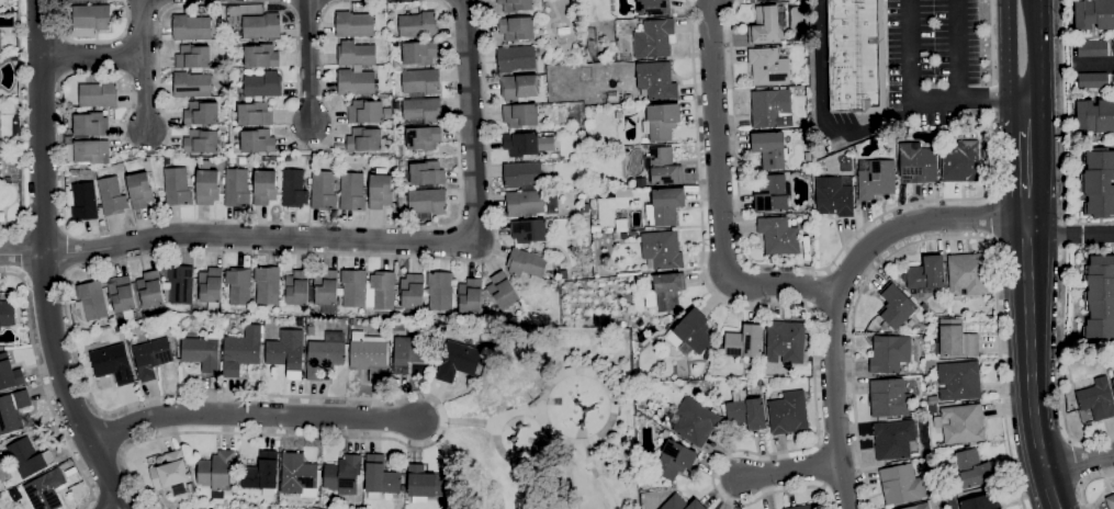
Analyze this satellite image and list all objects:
building: (762, 0)
building: (515, 4)
building: (653, 7)
building: (1094, 13)
building: (91, 16)
building: (353, 23)
building: (418, 24)
building: (261, 25)
building: (765, 25)
road: (140, 27)
building: (191, 27)
building: (516, 27)
building: (223, 34)
building: (653, 37)
building: (0, 41)
road: (92, 42)
building: (229, 42)
parking lot: (932, 43)
building: (1113, 47)
road: (957, 48)
building: (1092, 48)
building: (419, 50)
road: (1009, 50)
road: (1039, 50)
building: (356, 53)
road: (61, 56)
road: (90, 56)
building: (192, 56)
building: (261, 56)
building: (856, 56)
building: (14, 58)
building: (515, 58)
road: (308, 60)
road: (1100, 63)
building: (767, 67)
road: (80, 70)
building: (1092, 79)
building: (1113, 79)
building: (420, 80)
building: (356, 81)
building: (656, 81)
building: (191, 84)
building: (263, 84)
building: (518, 87)
road: (144, 90)
building: (241, 91)
building: (98, 93)
building: (627, 97)
building: (241, 98)
road: (919, 98)
building: (772, 108)
road: (820, 108)
building: (421, 109)
building: (629, 109)
building: (364, 111)
building: (201, 112)
building: (387, 112)
building: (252, 113)
building: (520, 114)
road: (1024, 114)
building: (1095, 115)
building: (571, 121)
building: (661, 121)
road: (20, 124)
building: (90, 124)
building: (423, 137)
building: (364, 139)
building: (644, 139)
building: (201, 140)
building: (258, 140)
building: (526, 143)
building: (770, 148)
building: (91, 150)
building: (808, 156)
building: (961, 161)
building: (918, 162)
building: (663, 166)
road: (738, 170)
building: (426, 173)
building: (521, 173)
road: (1025, 173)
building: (8, 179)
building: (877, 179)
building: (1099, 181)
building: (177, 185)
building: (206, 186)
building: (265, 186)
building: (237, 188)
building: (294, 188)
building: (139, 189)
building: (323, 189)
building: (380, 189)
road: (989, 190)
building: (352, 191)
building: (622, 192)
building: (592, 193)
road: (719, 193)
building: (770, 193)
building: (112, 195)
building: (834, 195)
building: (427, 200)
building: (82, 201)
building: (525, 202)
building: (665, 205)
building: (585, 207)
road: (990, 217)
road: (915, 223)
building: (621, 224)
road: (43, 227)
building: (596, 228)
building: (528, 229)
building: (609, 229)
building: (633, 233)
road: (1068, 233)
building: (620, 235)
building: (778, 235)
road: (941, 237)
road: (1064, 241)
road: (382, 244)
building: (662, 249)
road: (67, 250)
road: (21, 251)
road: (21, 252)
road: (407, 256)
road: (43, 261)
building: (526, 262)
building: (926, 272)
building: (967, 273)
building: (562, 274)
road: (45, 279)
building: (180, 283)
building: (238, 284)
building: (267, 284)
building: (210, 286)
building: (353, 287)
building: (150, 289)
building: (297, 290)
building: (326, 290)
building: (380, 290)
building: (440, 290)
building: (503, 290)
building: (412, 291)
building: (666, 291)
building: (122, 295)
building: (470, 295)
building: (1100, 297)
building: (91, 301)
building: (896, 307)
building: (925, 307)
road: (812, 309)
building: (7, 313)
building: (258, 318)
building: (668, 318)
building: (177, 319)
building: (449, 327)
building: (311, 330)
building: (691, 332)
building: (810, 338)
building: (956, 338)
building: (745, 341)
building: (786, 341)
building: (241, 350)
building: (202, 351)
building: (286, 351)
building: (710, 351)
building: (410, 352)
building: (890, 352)
building: (325, 353)
building: (369, 354)
building: (151, 357)
building: (457, 360)
building: (113, 363)
road: (1031, 364)
building: (9, 372)
road: (599, 377)
building: (959, 380)
building: (1113, 381)
building: (756, 383)
road: (44, 388)
road: (409, 393)
building: (889, 398)
building: (1096, 398)
building: (933, 399)
road: (835, 403)
building: (723, 407)
building: (932, 409)
building: (12, 410)
building: (746, 412)
building: (788, 412)
road: (536, 417)
road: (251, 419)
building: (695, 421)
park: (548, 423)
building: (961, 423)
road: (112, 432)
building: (665, 433)
building: (893, 439)
building: (27, 456)
building: (675, 460)
road: (518, 461)
road: (1077, 461)
road: (1079, 461)
building: (974, 468)
building: (216, 470)
road: (791, 470)
building: (169, 471)
building: (261, 472)
building: (297, 474)
building: (344, 476)
building: (380, 477)
building: (903, 482)
road: (1087, 482)
building: (424, 483)
building: (190, 486)
building: (45, 489)
building: (1, 494)
building: (1111, 500)
building: (981, 501)
road: (94, 502)
building: (682, 504)
building: (807, 506)
building: (918, 506)
building: (0, 508)
road: (116, 508)
building: (196, 508)

